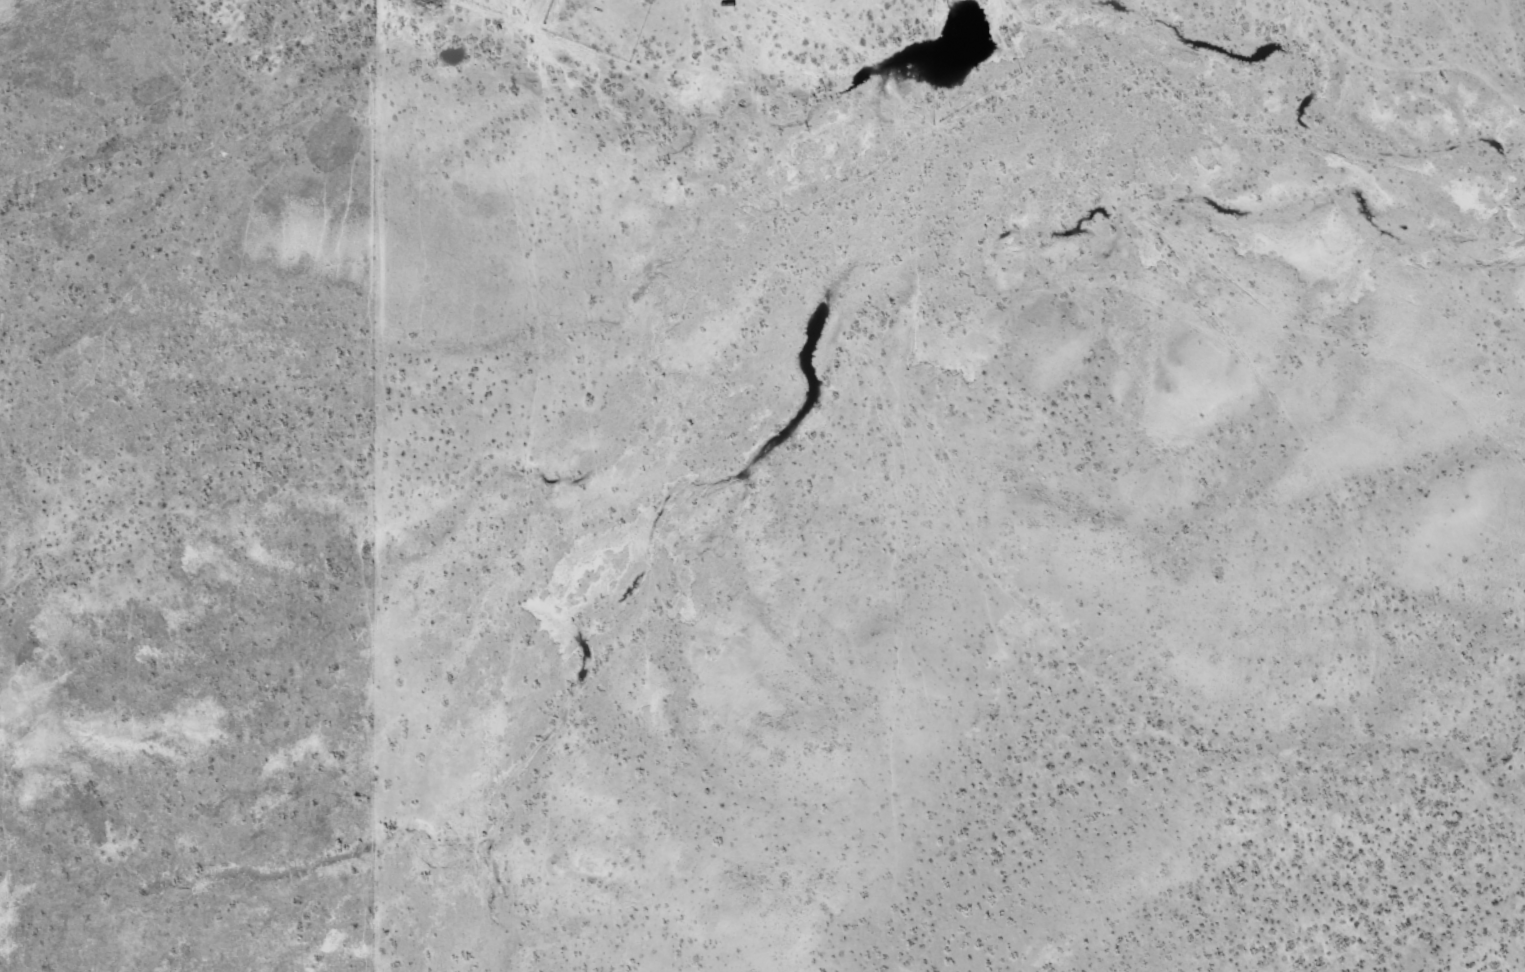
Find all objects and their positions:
road: (329, 908)

